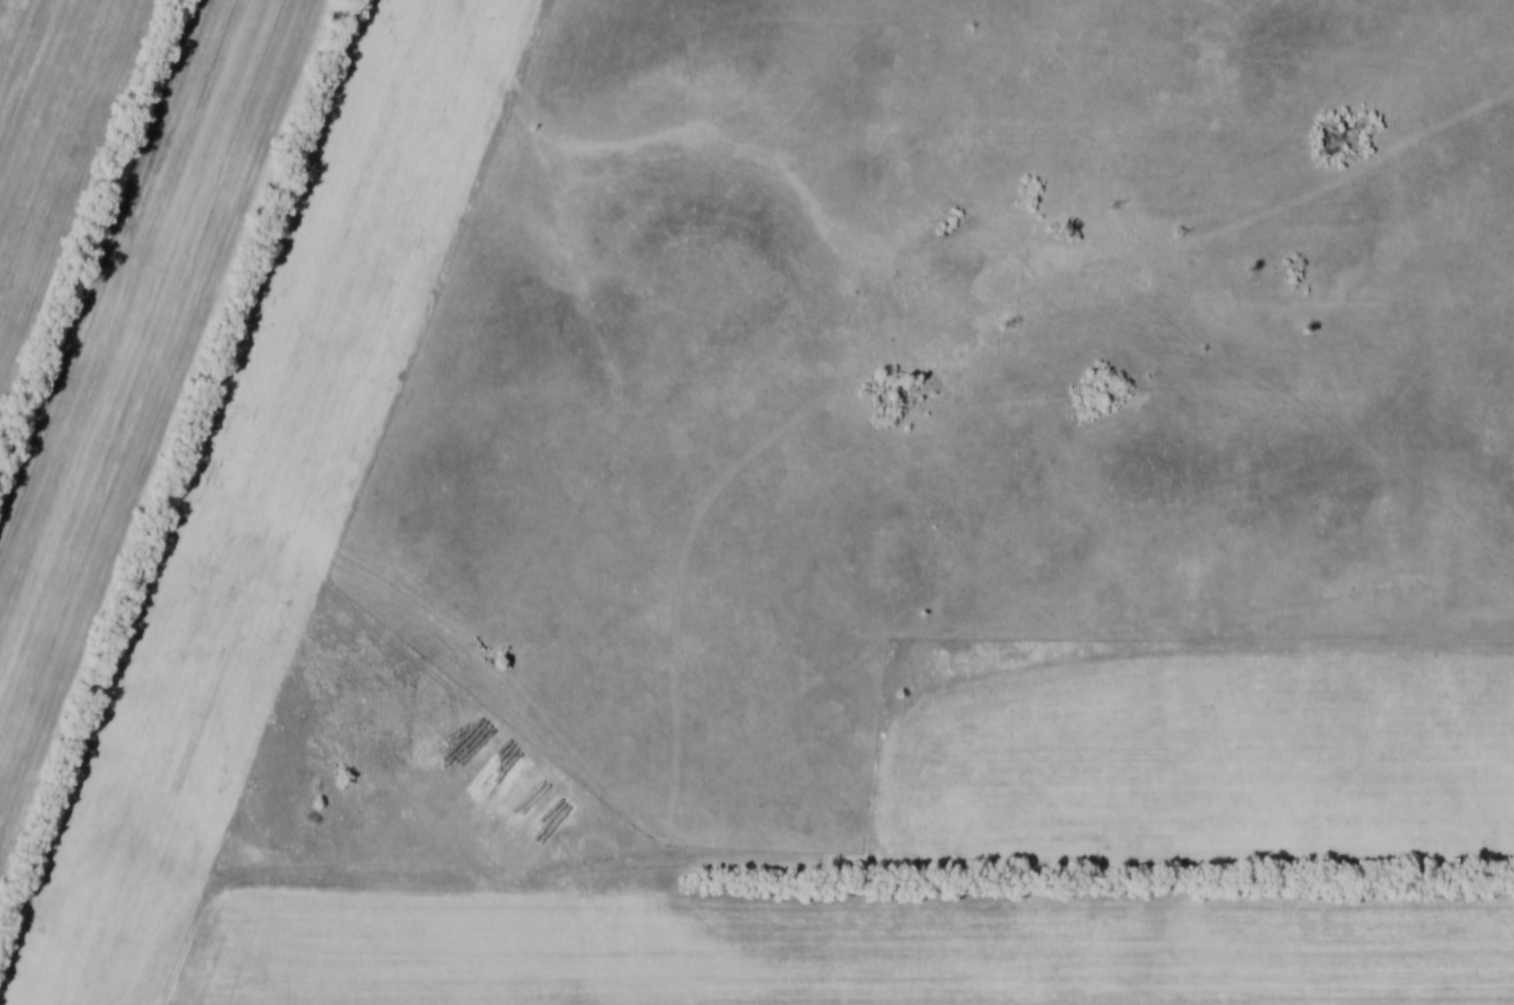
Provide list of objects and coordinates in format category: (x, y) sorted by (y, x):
road: (293, 862)

